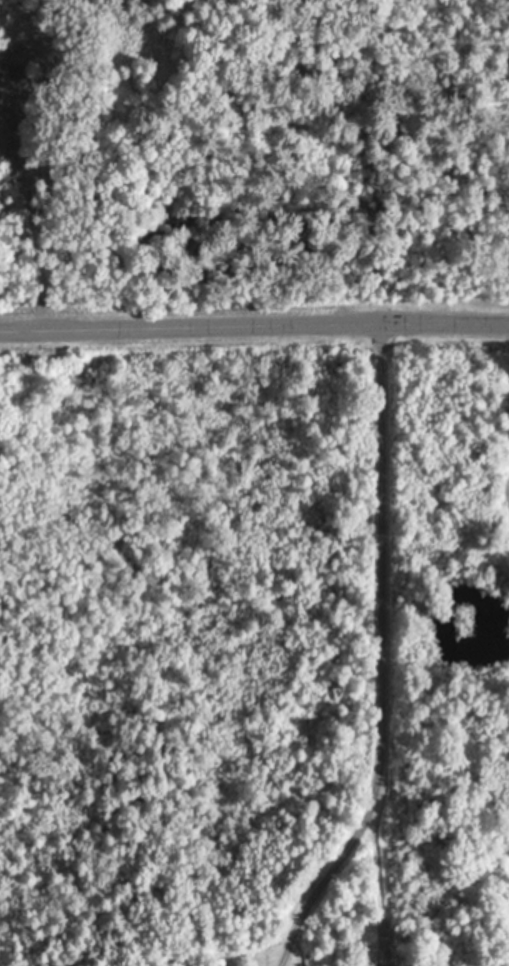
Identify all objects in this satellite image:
road: (254, 326)
road: (384, 657)

